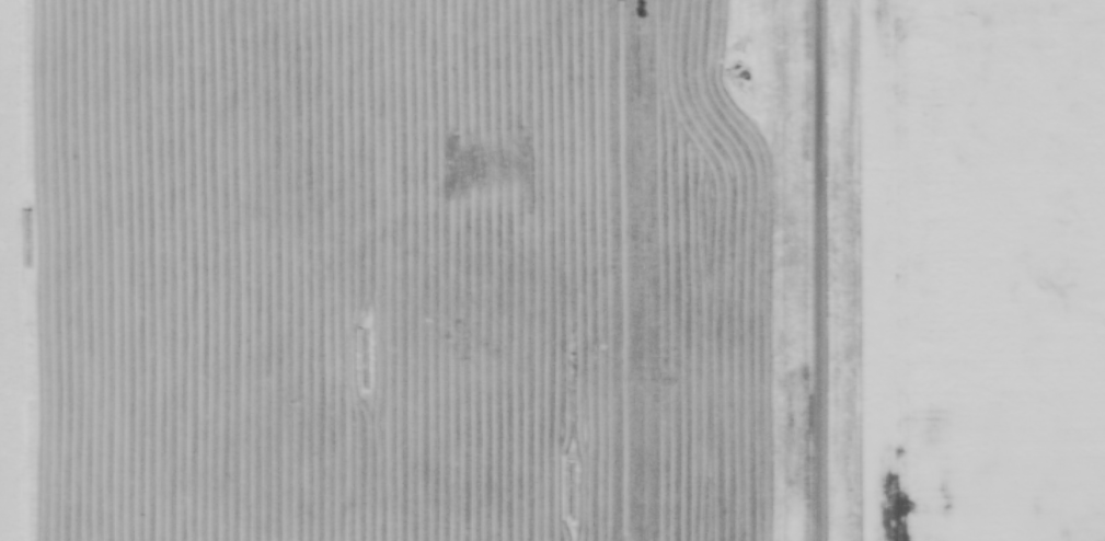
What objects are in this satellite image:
road: (819, 270)

